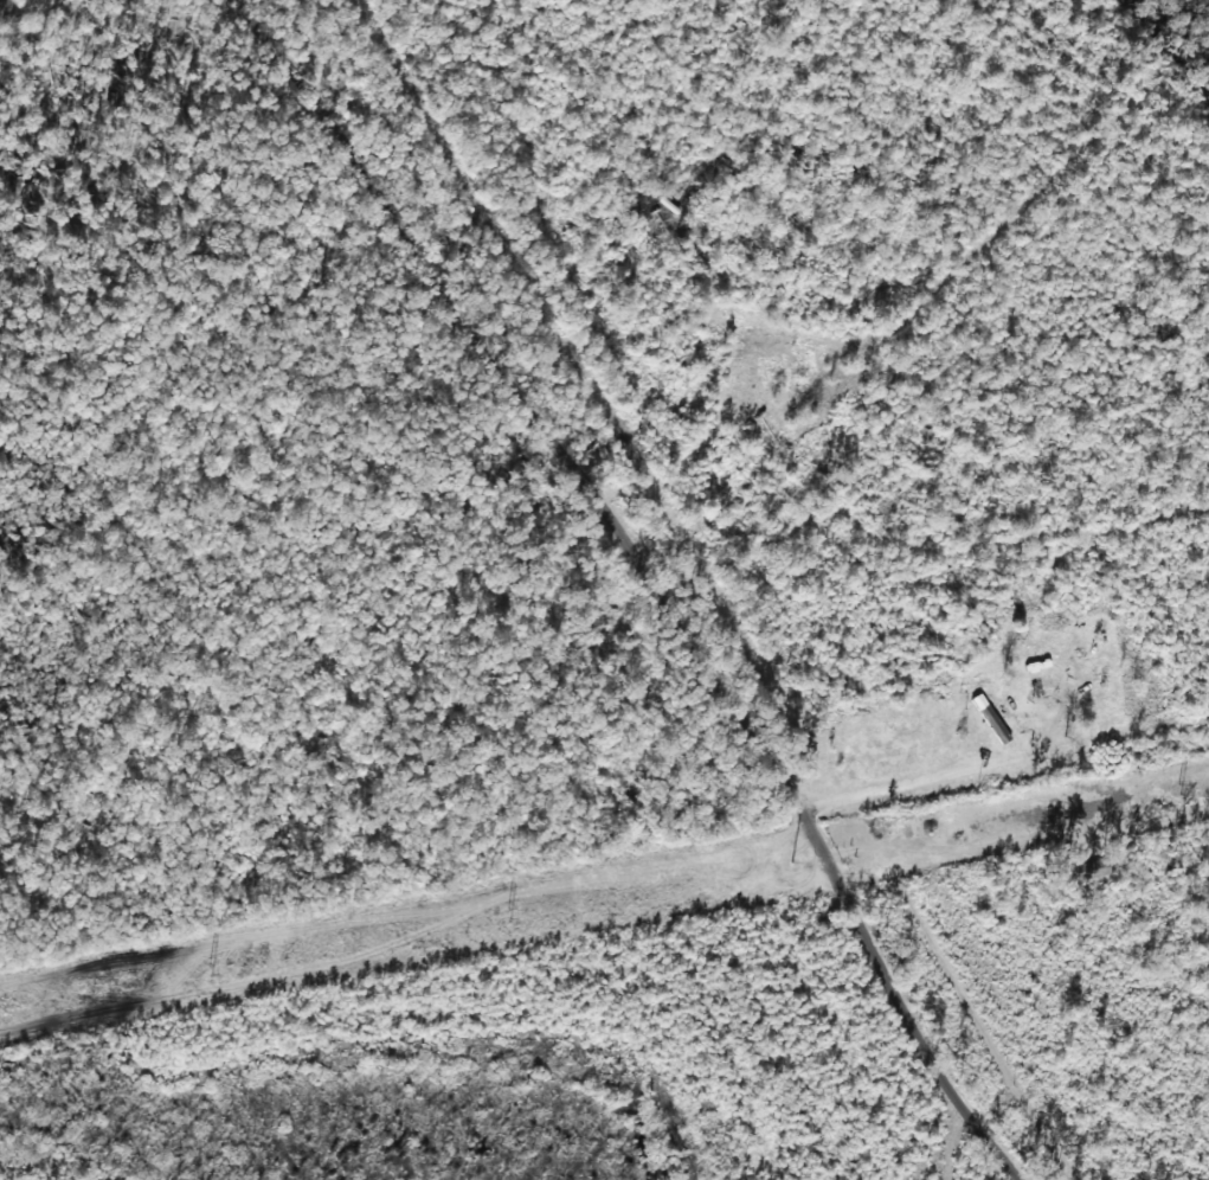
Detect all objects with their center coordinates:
road: (634, 585)
road: (1003, 738)

